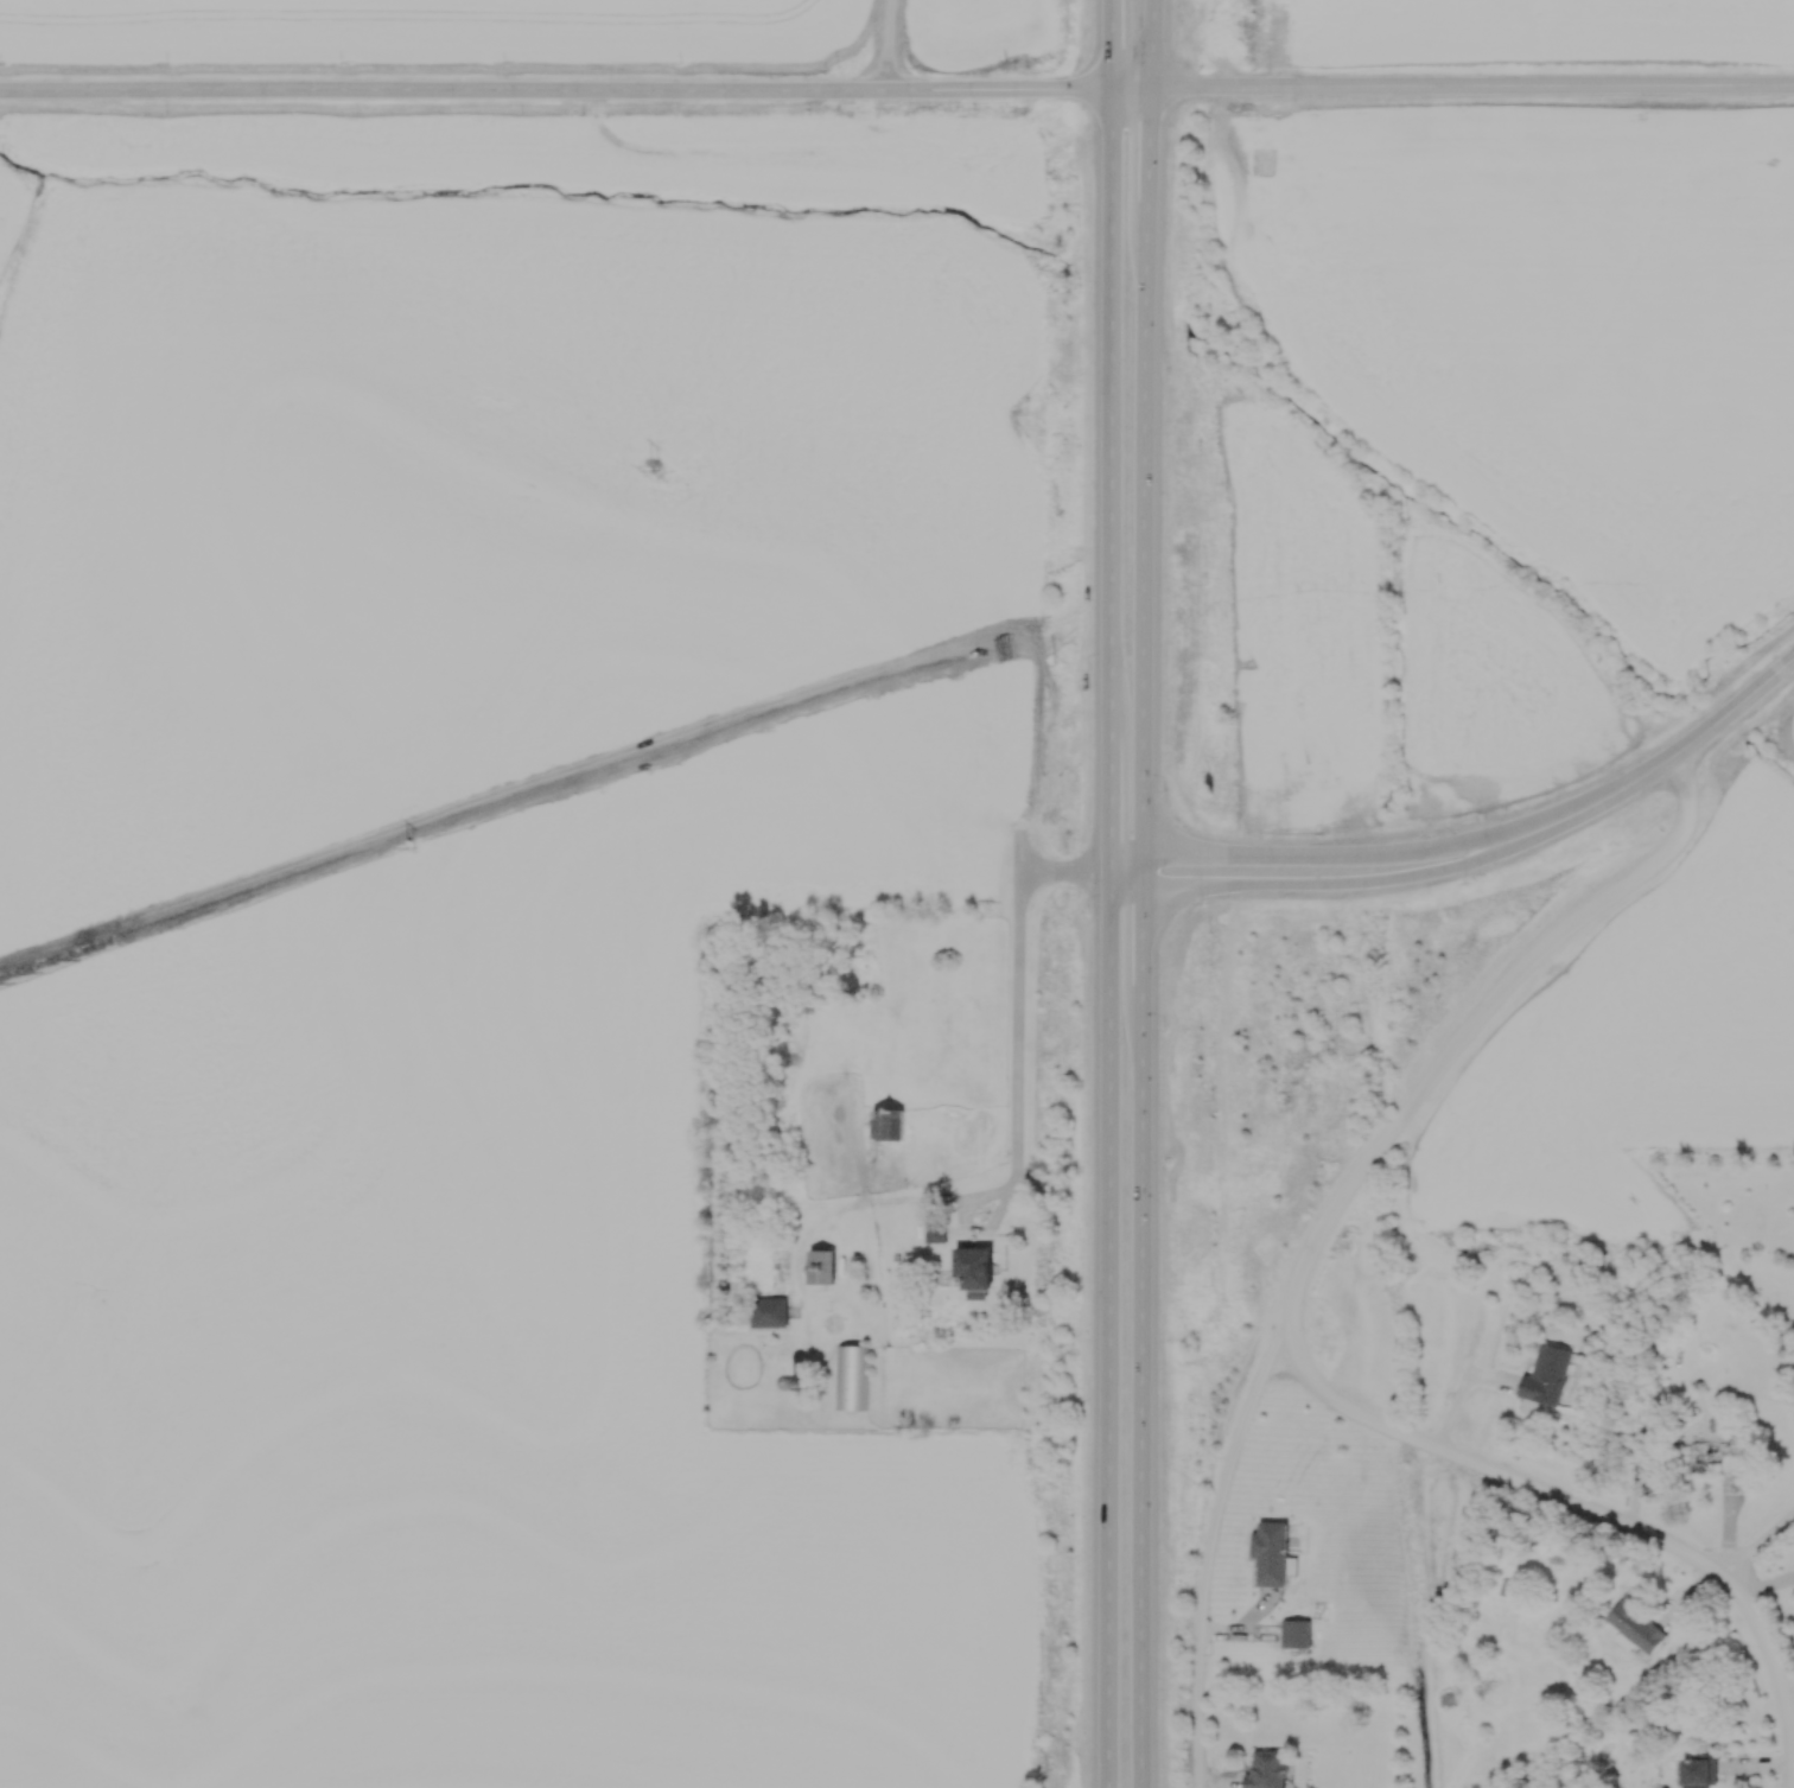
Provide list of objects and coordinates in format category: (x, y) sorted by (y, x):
road: (883, 45)
road: (1472, 88)
road: (575, 91)
power tower: (654, 471)
road: (1662, 766)
power tower: (409, 841)
road: (1238, 857)
road: (1380, 879)
road: (1108, 893)
road: (1144, 893)
road: (1017, 992)
building: (891, 1127)
road: (961, 1215)
road: (1335, 1216)
building: (823, 1270)
building: (776, 1316)
building: (1550, 1375)
building: (851, 1379)
building: (1646, 1442)
building: (1718, 1458)
road: (1591, 1516)
road: (1758, 1547)
building: (1274, 1554)
building: (1640, 1624)
building: (1298, 1635)
building: (1270, 1769)
building: (1700, 1773)

